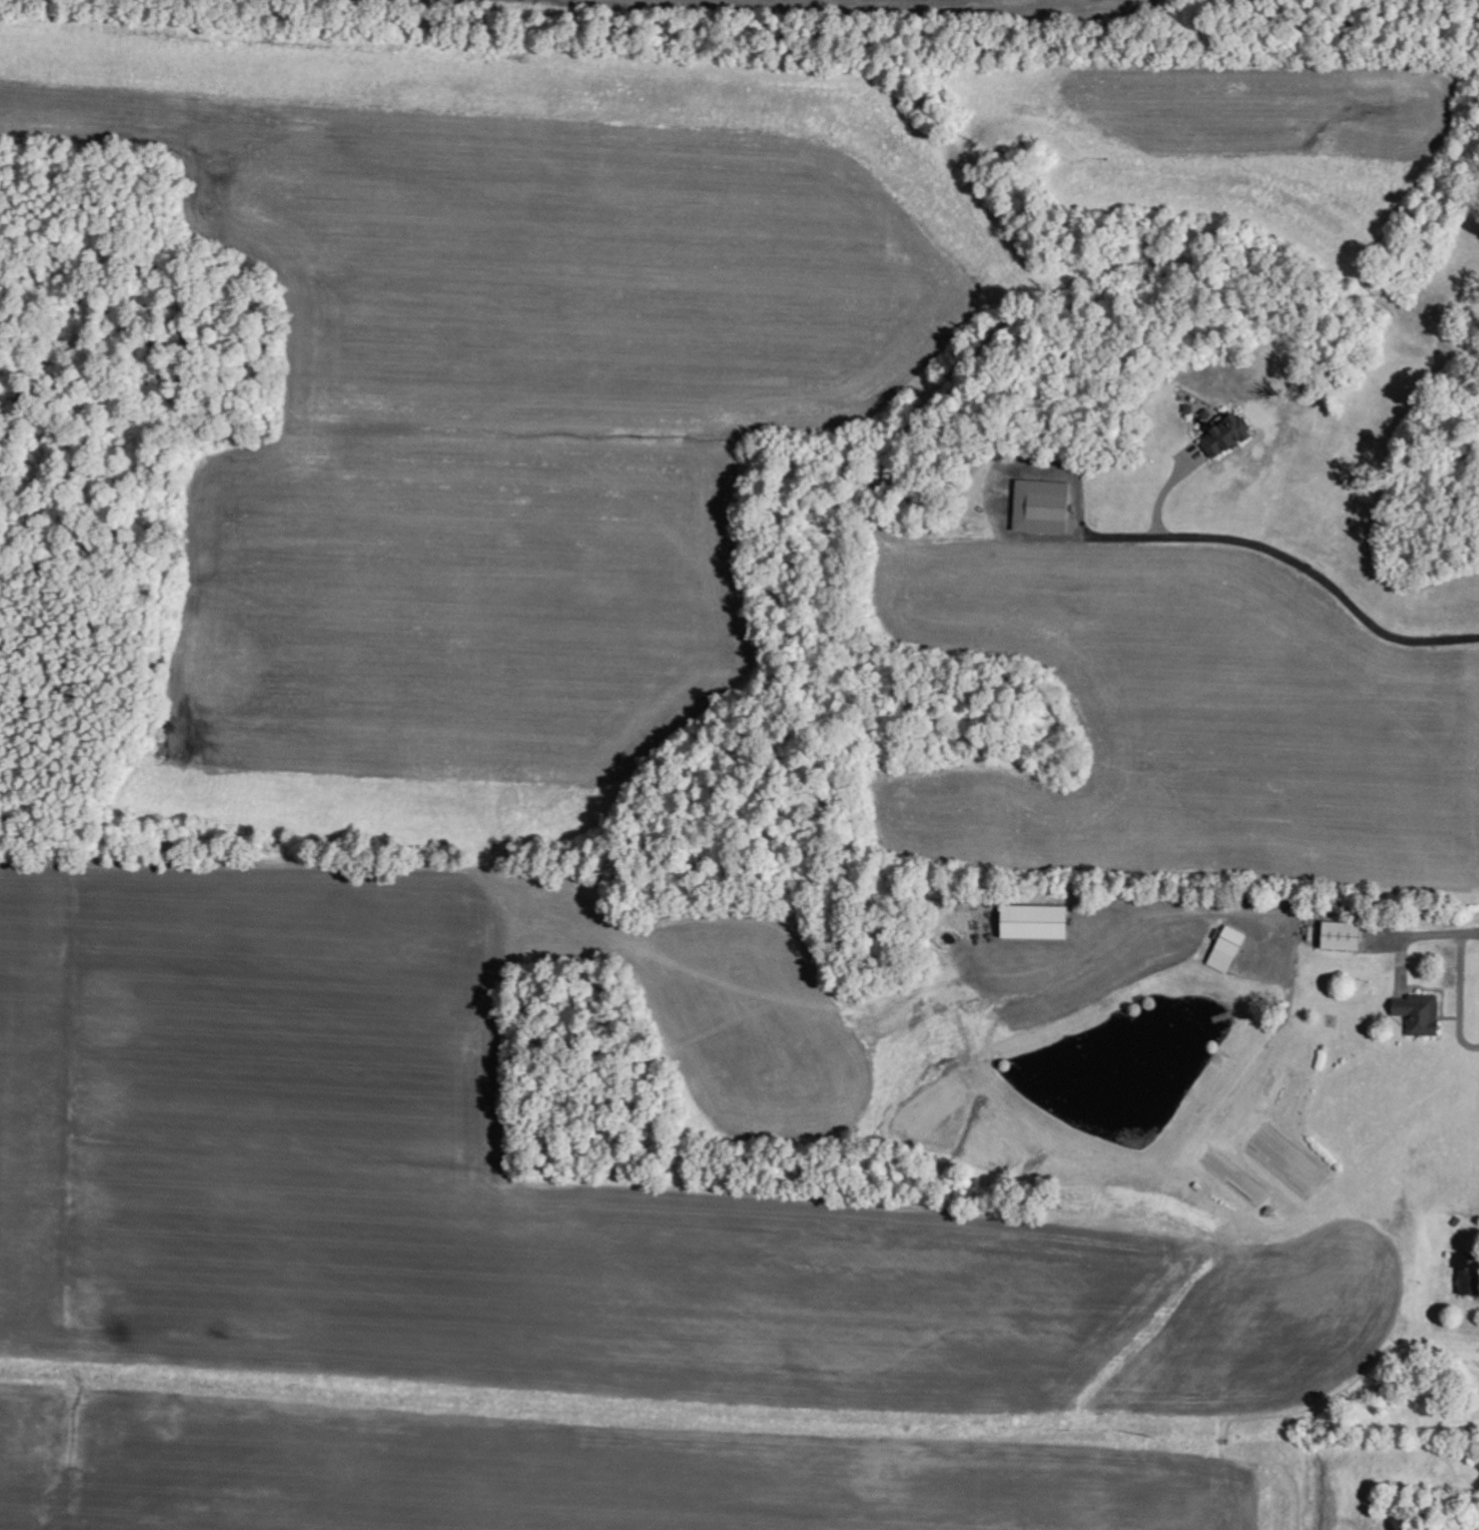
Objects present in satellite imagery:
building: (1228, 437)
building: (1043, 507)
building: (1037, 923)
building: (1343, 937)
building: (1228, 950)
building: (1421, 1015)
building: (1468, 1275)

